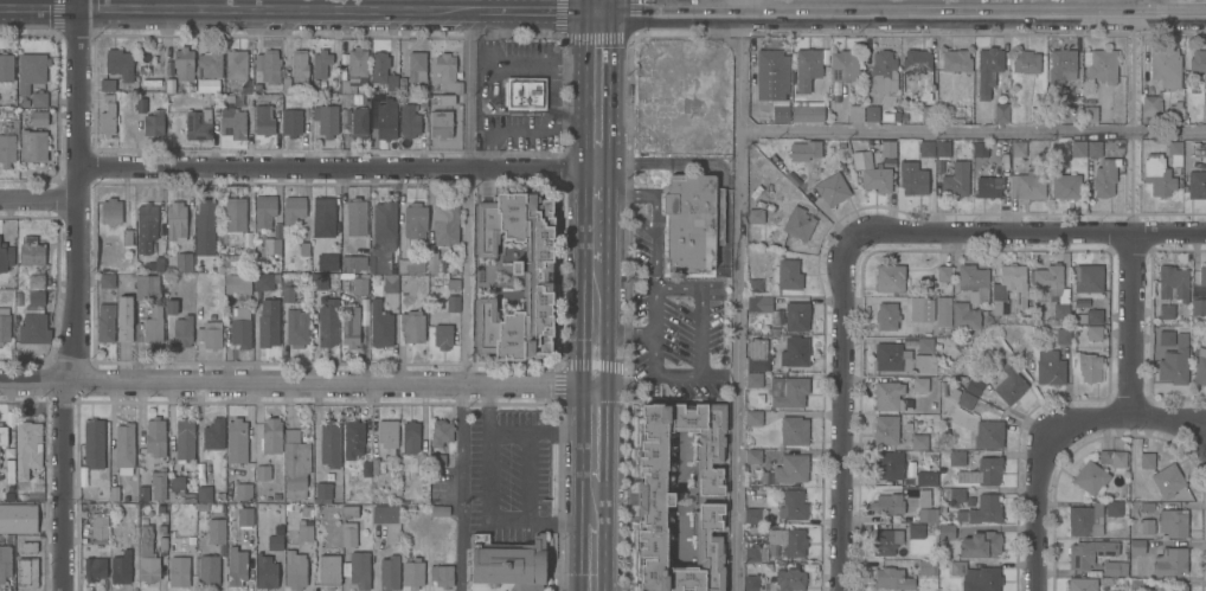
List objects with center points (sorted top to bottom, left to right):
road: (73, 4)
road: (597, 5)
road: (717, 5)
road: (1093, 5)
road: (37, 6)
road: (276, 8)
road: (538, 9)
traffic signals: (597, 9)
road: (900, 11)
building: (955, 60)
building: (1025, 60)
building: (118, 63)
building: (168, 63)
building: (184, 63)
building: (320, 63)
building: (210, 64)
building: (236, 64)
building: (1101, 64)
building: (6, 65)
building: (268, 65)
building: (842, 65)
building: (1061, 65)
building: (1199, 65)
building: (416, 66)
road: (514, 68)
building: (806, 68)
building: (1166, 68)
building: (299, 69)
building: (354, 69)
building: (881, 69)
building: (987, 70)
building: (30, 71)
building: (447, 71)
building: (917, 72)
building: (381, 73)
building: (770, 73)
building: (107, 84)
building: (169, 84)
building: (286, 84)
building: (402, 84)
building: (199, 85)
building: (333, 85)
building: (257, 86)
building: (248, 88)
road: (596, 88)
building: (834, 90)
building: (524, 92)
building: (38, 98)
building: (212, 98)
building: (365, 98)
building: (345, 99)
building: (445, 99)
building: (423, 101)
building: (141, 104)
building: (1150, 104)
building: (1001, 111)
building: (780, 113)
building: (807, 113)
building: (854, 113)
building: (871, 113)
building: (928, 113)
building: (944, 113)
building: (1038, 113)
building: (1053, 113)
building: (1090, 113)
building: (1175, 113)
building: (1205, 114)
building: (107, 115)
building: (903, 116)
building: (38, 117)
building: (386, 118)
building: (263, 120)
building: (326, 120)
building: (359, 120)
building: (409, 120)
building: (232, 122)
building: (291, 122)
building: (440, 122)
building: (153, 123)
building: (197, 126)
road: (532, 130)
road: (971, 130)
road: (1130, 133)
building: (871, 141)
building: (32, 144)
building: (887, 148)
building: (925, 148)
building: (941, 148)
building: (980, 148)
building: (1018, 148)
building: (1077, 148)
building: (1093, 148)
building: (803, 149)
building: (6, 150)
building: (1174, 152)
building: (1205, 154)
road: (335, 167)
building: (1157, 174)
building: (875, 179)
building: (912, 179)
building: (955, 180)
building: (1103, 181)
building: (1197, 184)
building: (1027, 185)
building: (988, 186)
building: (1065, 186)
building: (832, 188)
road: (37, 198)
building: (293, 208)
building: (264, 210)
building: (110, 211)
road: (595, 213)
building: (322, 216)
building: (755, 216)
building: (355, 217)
building: (175, 220)
building: (232, 220)
building: (415, 220)
building: (692, 220)
building: (797, 223)
building: (445, 224)
building: (146, 226)
building: (204, 226)
building: (277, 230)
road: (1026, 232)
building: (127, 236)
building: (383, 237)
building: (269, 245)
building: (303, 248)
building: (31, 251)
building: (5, 257)
building: (431, 261)
building: (184, 262)
building: (327, 262)
building: (159, 263)
building: (353, 263)
building: (224, 264)
building: (411, 264)
building: (942, 272)
building: (788, 274)
building: (1202, 275)
building: (889, 277)
building: (1086, 277)
building: (973, 280)
building: (1048, 280)
building: (36, 281)
building: (107, 281)
building: (263, 281)
building: (537, 281)
building: (319, 282)
building: (1013, 282)
building: (1172, 282)
building: (237, 283)
building: (389, 283)
building: (453, 283)
building: (359, 285)
road: (685, 285)
building: (753, 285)
building: (149, 287)
building: (287, 293)
road: (466, 295)
building: (36, 298)
road: (72, 298)
building: (347, 300)
road: (737, 300)
building: (453, 302)
building: (758, 303)
building: (918, 303)
building: (171, 306)
building: (1198, 306)
building: (999, 307)
building: (1166, 310)
building: (1060, 311)
building: (885, 315)
building: (964, 315)
building: (796, 316)
building: (1093, 316)
building: (123, 317)
building: (268, 322)
road: (595, 322)
road: (1128, 322)
building: (104, 323)
building: (327, 323)
building: (153, 325)
building: (379, 325)
building: (4, 326)
building: (349, 326)
building: (412, 326)
building: (239, 327)
building: (295, 327)
building: (33, 329)
building: (182, 330)
building: (1093, 332)
building: (210, 334)
road: (623, 334)
building: (1059, 334)
building: (442, 335)
building: (1162, 338)
building: (924, 345)
building: (794, 352)
building: (757, 354)
building: (900, 358)
building: (1174, 361)
building: (1199, 364)
building: (1089, 366)
building: (1048, 367)
building: (753, 379)
road: (296, 383)
building: (918, 384)
building: (1009, 384)
building: (973, 385)
building: (787, 391)
building: (890, 396)
building: (964, 399)
road: (841, 415)
road: (1168, 416)
building: (752, 417)
building: (885, 429)
building: (793, 430)
building: (441, 431)
road: (592, 432)
building: (213, 433)
building: (236, 433)
building: (988, 433)
building: (2, 435)
building: (270, 435)
building: (387, 435)
building: (155, 436)
building: (409, 437)
building: (184, 438)
building: (353, 438)
building: (918, 441)
building: (94, 443)
building: (328, 443)
building: (124, 444)
building: (26, 448)
building: (752, 455)
building: (955, 457)
building: (1112, 457)
building: (438, 460)
building: (1146, 460)
building: (295, 463)
building: (887, 464)
building: (374, 465)
building: (365, 468)
building: (790, 468)
building: (8, 470)
building: (243, 470)
building: (984, 470)
building: (124, 471)
building: (262, 471)
road: (1039, 473)
building: (101, 476)
building: (1090, 476)
building: (925, 477)
building: (1169, 481)
building: (177, 483)
building: (158, 484)
building: (114, 493)
building: (204, 493)
building: (321, 493)
building: (142, 494)
building: (952, 494)
building: (219, 495)
building: (655, 500)
road: (591, 502)
building: (889, 502)
building: (793, 505)
building: (1146, 506)
building: (1114, 508)
building: (304, 509)
building: (438, 509)
building: (981, 509)
building: (384, 513)
building: (925, 514)
building: (244, 515)
building: (751, 515)
building: (17, 519)
building: (1085, 519)
building: (1173, 521)
building: (348, 526)
building: (928, 526)
building: (1146, 526)
building: (98, 528)
building: (216, 531)
building: (304, 531)
building: (915, 531)
building: (945, 531)
building: (317, 532)
building: (191, 539)
building: (788, 540)
building: (885, 540)
building: (162, 542)
building: (272, 542)
building: (941, 542)
building: (980, 544)
building: (28, 546)
building: (1136, 546)
building: (899, 551)
building: (1088, 552)
building: (755, 553)
building: (147, 554)
road: (590, 558)
building: (1169, 560)
building: (5, 561)
building: (506, 564)
building: (236, 566)
building: (94, 567)
building: (121, 567)
building: (926, 567)
building: (1109, 567)
building: (207, 568)
building: (359, 568)
building: (26, 571)
building: (179, 571)
building: (295, 571)
building: (328, 571)
building: (389, 571)
building: (265, 572)
building: (412, 573)
building: (441, 574)
building: (975, 577)
building: (891, 578)
building: (789, 579)
building: (751, 583)
building: (1080, 584)
building: (1136, 584)
building: (1173, 587)

